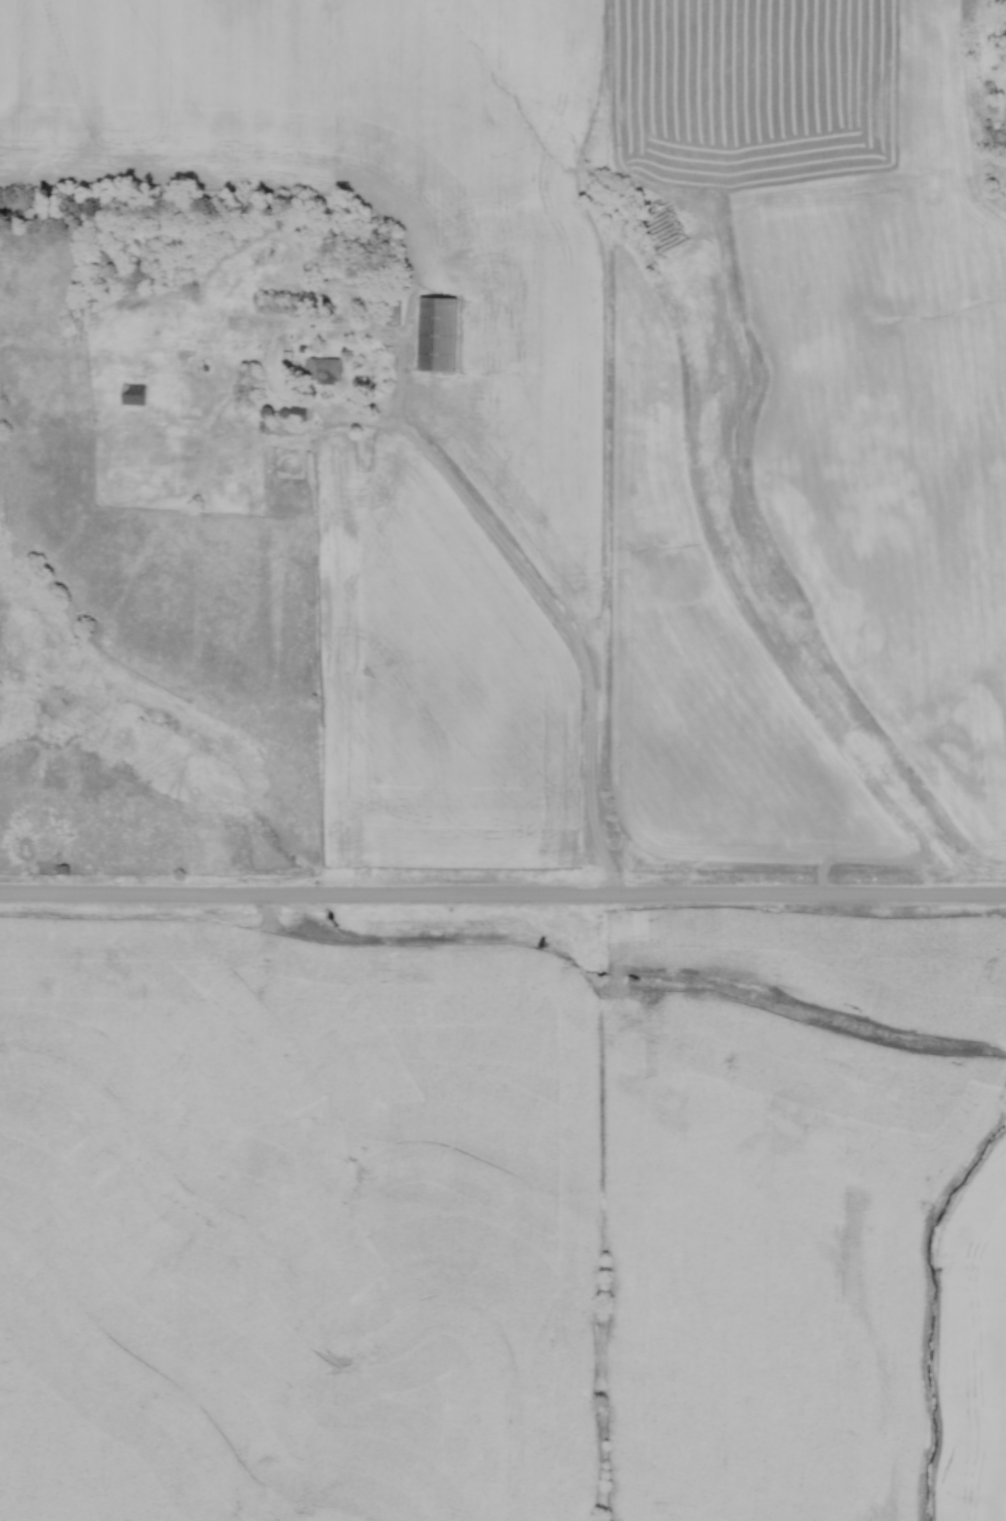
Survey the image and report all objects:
building: (440, 334)
building: (323, 370)
building: (133, 394)
road: (536, 591)
road: (503, 895)

